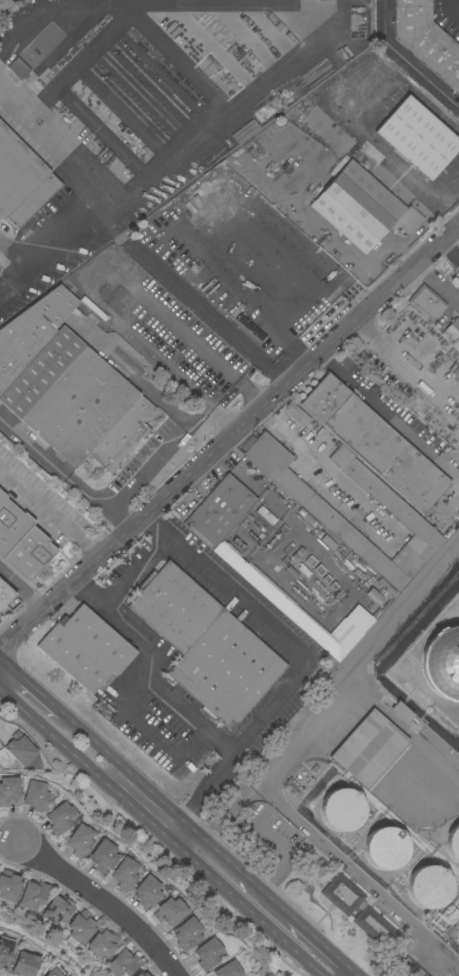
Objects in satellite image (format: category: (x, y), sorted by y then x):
road: (104, 1)
road: (449, 10)
parking lot: (15, 15)
parking lot: (447, 16)
building: (426, 40)
road: (405, 61)
building: (19, 69)
building: (349, 97)
road: (223, 115)
building: (458, 128)
building: (418, 138)
road: (59, 142)
building: (21, 180)
building: (356, 206)
building: (409, 221)
road: (449, 251)
road: (49, 255)
building: (215, 282)
building: (206, 290)
road: (192, 301)
road: (123, 304)
building: (427, 304)
building: (240, 306)
building: (453, 331)
building: (269, 349)
building: (67, 387)
road: (373, 400)
building: (298, 414)
road: (229, 438)
building: (374, 444)
road: (327, 472)
road: (136, 477)
building: (309, 501)
road: (101, 506)
road: (50, 512)
building: (307, 517)
building: (21, 542)
road: (137, 569)
building: (292, 574)
building: (262, 584)
road: (21, 590)
building: (5, 595)
building: (374, 597)
building: (206, 646)
building: (86, 649)
building: (442, 663)
road: (330, 698)
road: (27, 699)
building: (401, 713)
road: (263, 717)
road: (152, 729)
building: (20, 749)
building: (369, 749)
building: (9, 791)
road: (203, 792)
building: (36, 796)
building: (342, 810)
storage tank: (342, 810)
building: (60, 818)
road: (169, 825)
building: (80, 841)
building: (453, 844)
storage tank: (453, 844)
building: (386, 849)
storage tank: (386, 849)
building: (103, 856)
building: (124, 874)
building: (9, 886)
building: (429, 887)
storage tank: (429, 887)
building: (146, 892)
building: (33, 895)
road: (104, 899)
building: (58, 910)
building: (170, 912)
building: (366, 914)
building: (82, 927)
building: (458, 930)
storage tank: (458, 930)
building: (187, 934)
building: (103, 944)
road: (309, 950)
building: (5, 952)
building: (207, 954)
building: (124, 964)
building: (24, 965)
building: (228, 970)
building: (55, 972)
building: (142, 974)
road: (337, 974)

